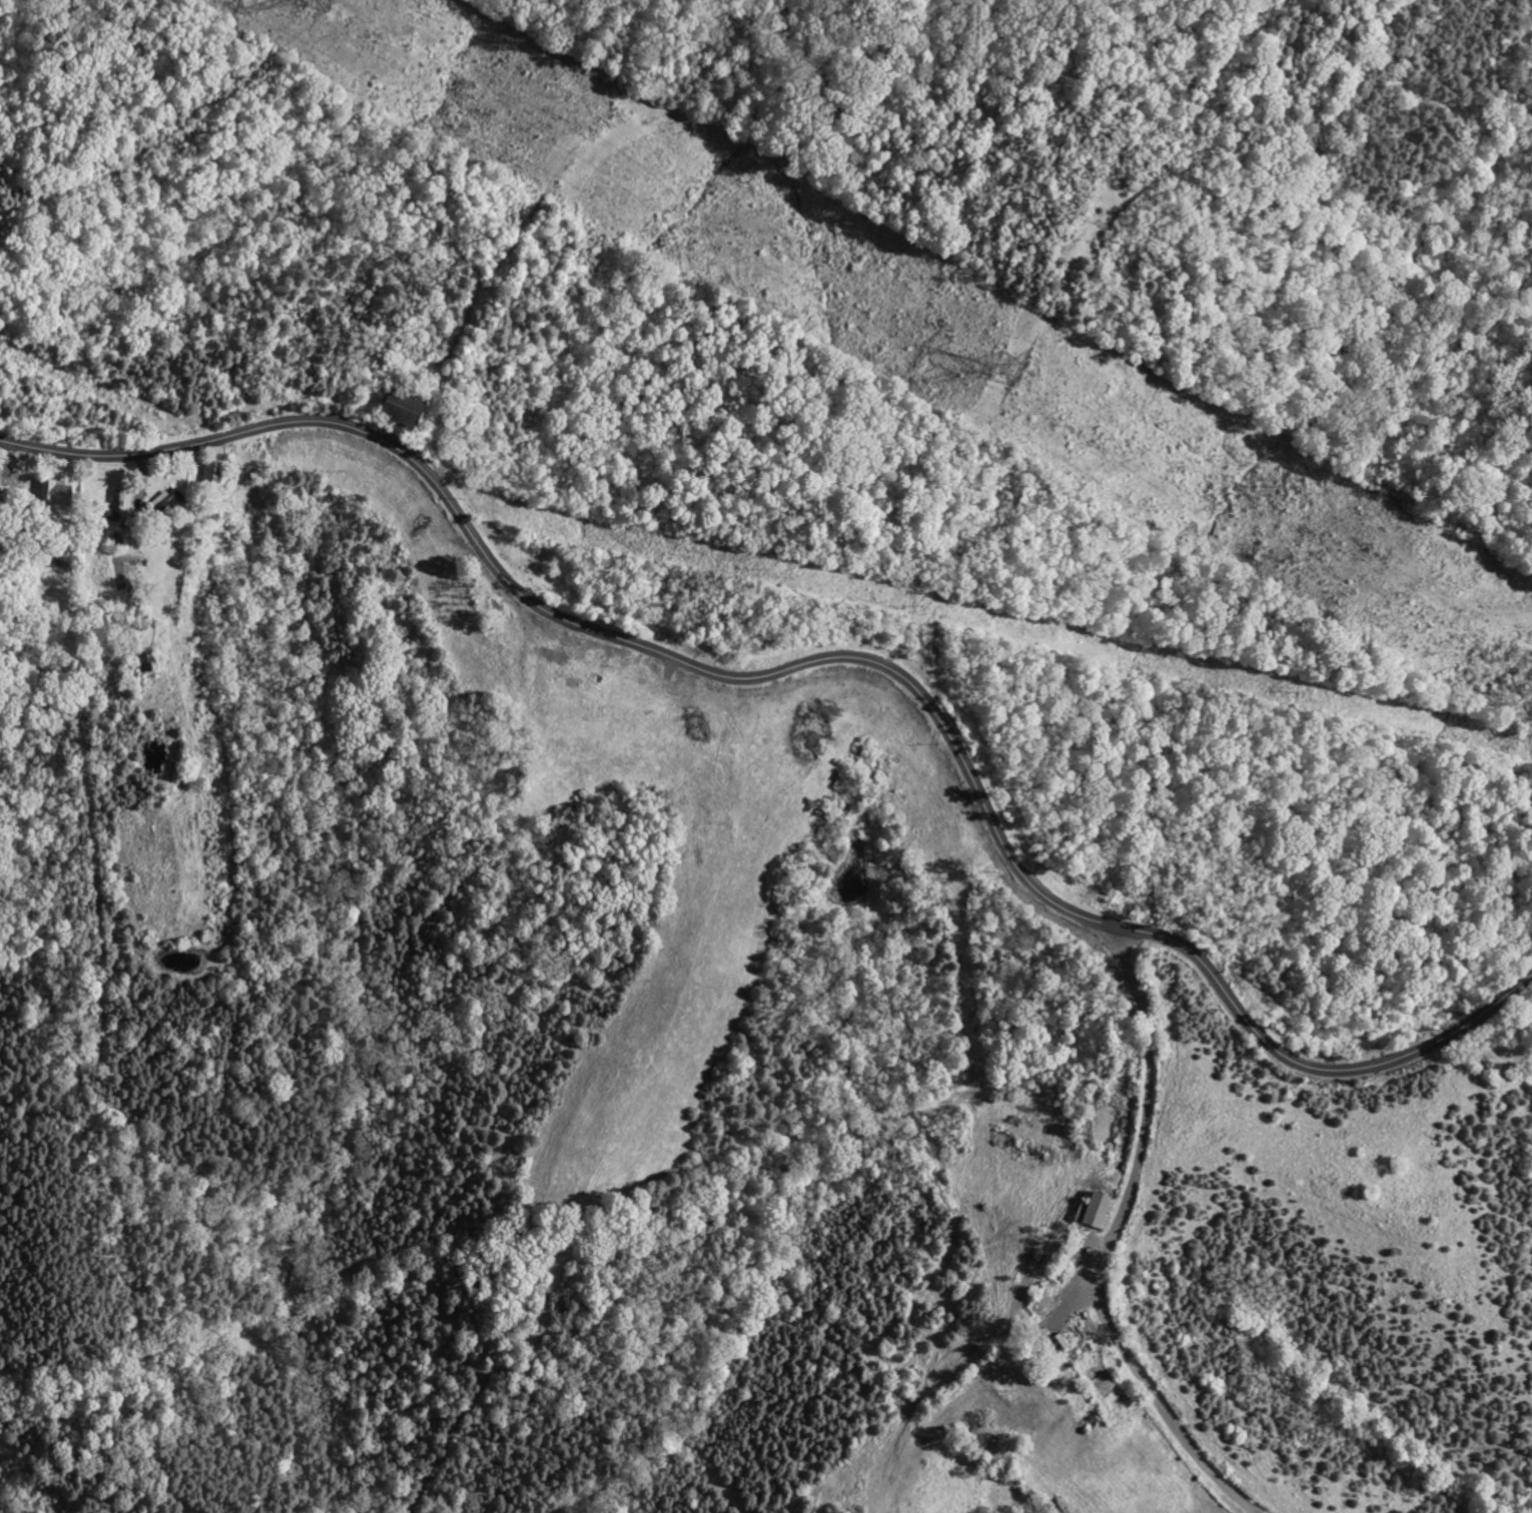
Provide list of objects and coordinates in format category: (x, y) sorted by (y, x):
power tower: (1024, 387)
building: (394, 409)
building: (52, 492)
building: (164, 500)
road: (822, 660)
building: (1089, 1210)
road: (1118, 1229)

